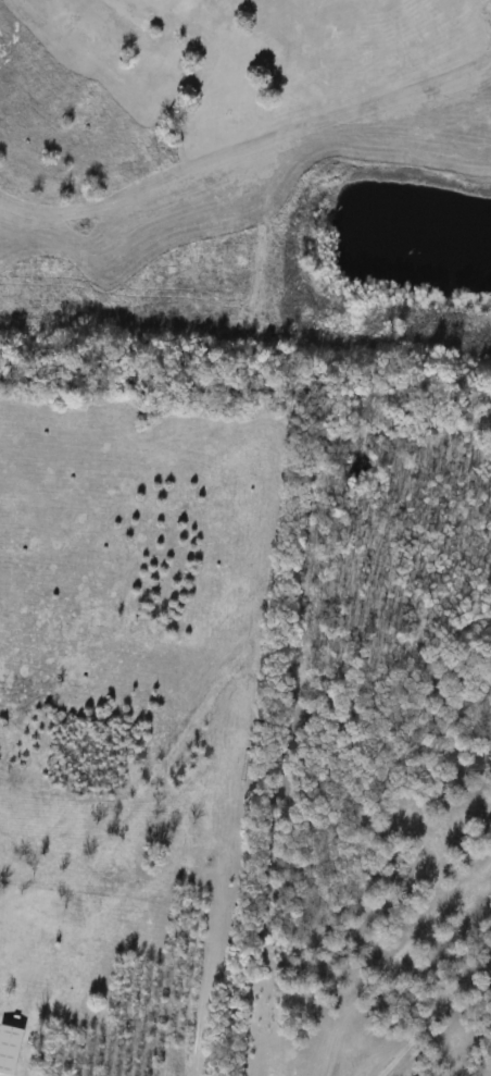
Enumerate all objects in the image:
road: (153, 4)
road: (432, 1015)

